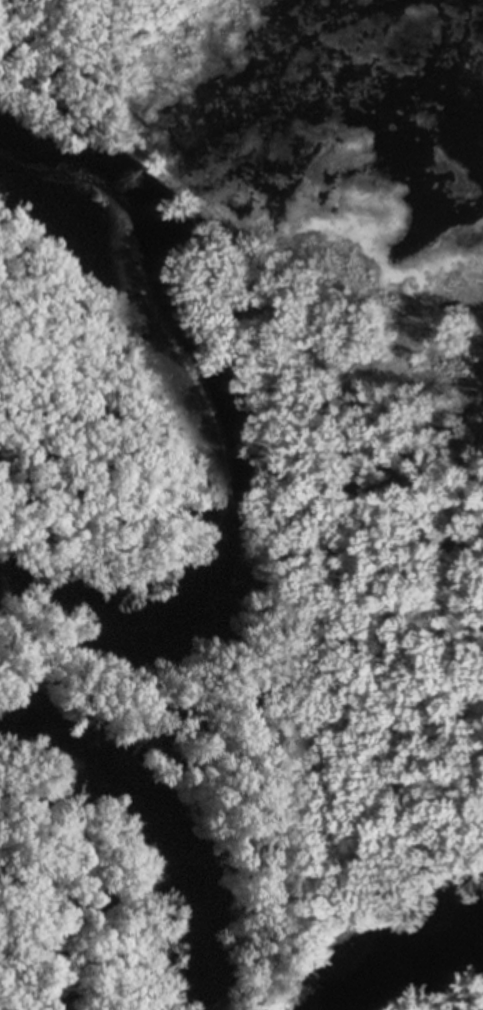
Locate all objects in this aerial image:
building: (138, 730)
river: (144, 836)
river: (424, 975)

